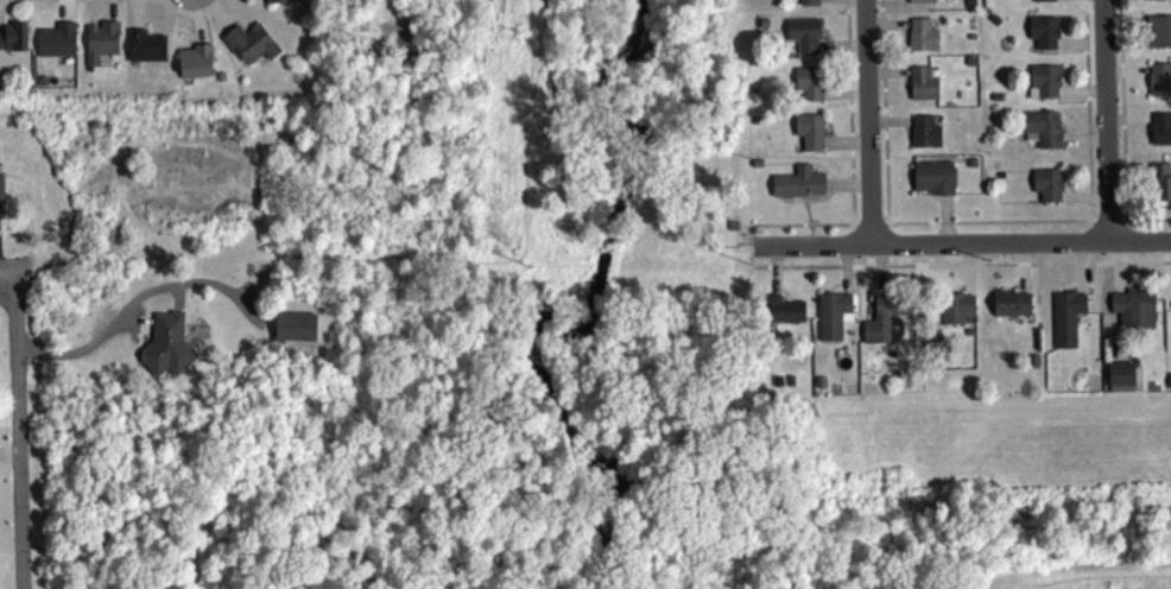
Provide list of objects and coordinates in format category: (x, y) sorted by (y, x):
building: (1157, 1)
building: (1044, 2)
building: (277, 4)
building: (808, 4)
building: (920, 4)
building: (1043, 36)
building: (1158, 36)
building: (803, 39)
building: (920, 39)
building: (13, 42)
building: (56, 45)
building: (100, 46)
building: (249, 47)
building: (144, 51)
building: (194, 66)
building: (1159, 84)
building: (1043, 85)
building: (808, 87)
building: (922, 88)
road: (1106, 120)
road: (869, 121)
building: (1040, 133)
building: (1160, 133)
building: (924, 135)
building: (809, 137)
building: (931, 182)
building: (1160, 186)
building: (798, 188)
building: (1046, 190)
building: (0, 191)
road: (963, 242)
road: (147, 265)
building: (1009, 309)
building: (955, 312)
building: (1133, 312)
building: (783, 315)
building: (830, 319)
building: (1065, 323)
building: (886, 324)
building: (293, 331)
building: (165, 349)
building: (1122, 381)
road: (481, 398)
road: (19, 430)
road: (251, 432)
road: (298, 461)
park: (605, 465)
road: (227, 519)
road: (954, 524)
road: (670, 533)
road: (177, 555)
road: (284, 557)
road: (1084, 577)

